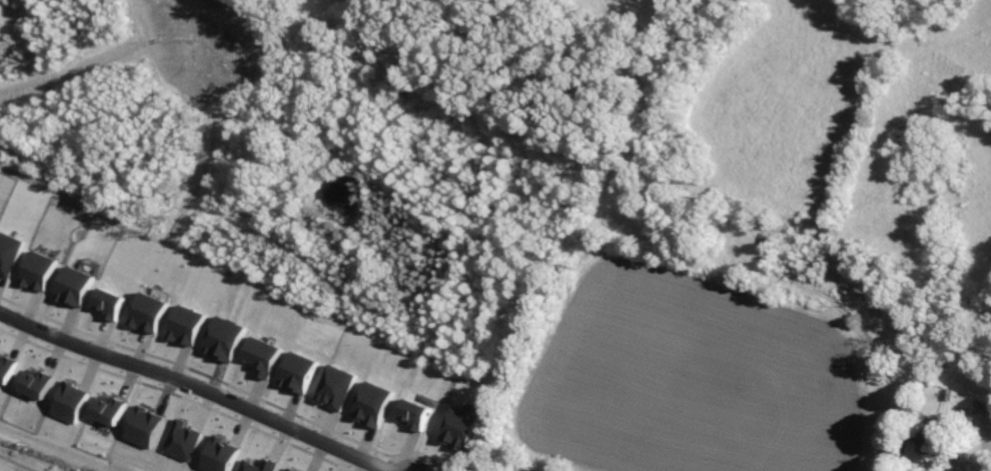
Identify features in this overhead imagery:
building: (265, 355)
road: (192, 388)
building: (70, 402)
building: (375, 404)
building: (461, 427)
building: (931, 440)
road: (982, 448)
building: (221, 454)
building: (259, 466)
road: (515, 470)

